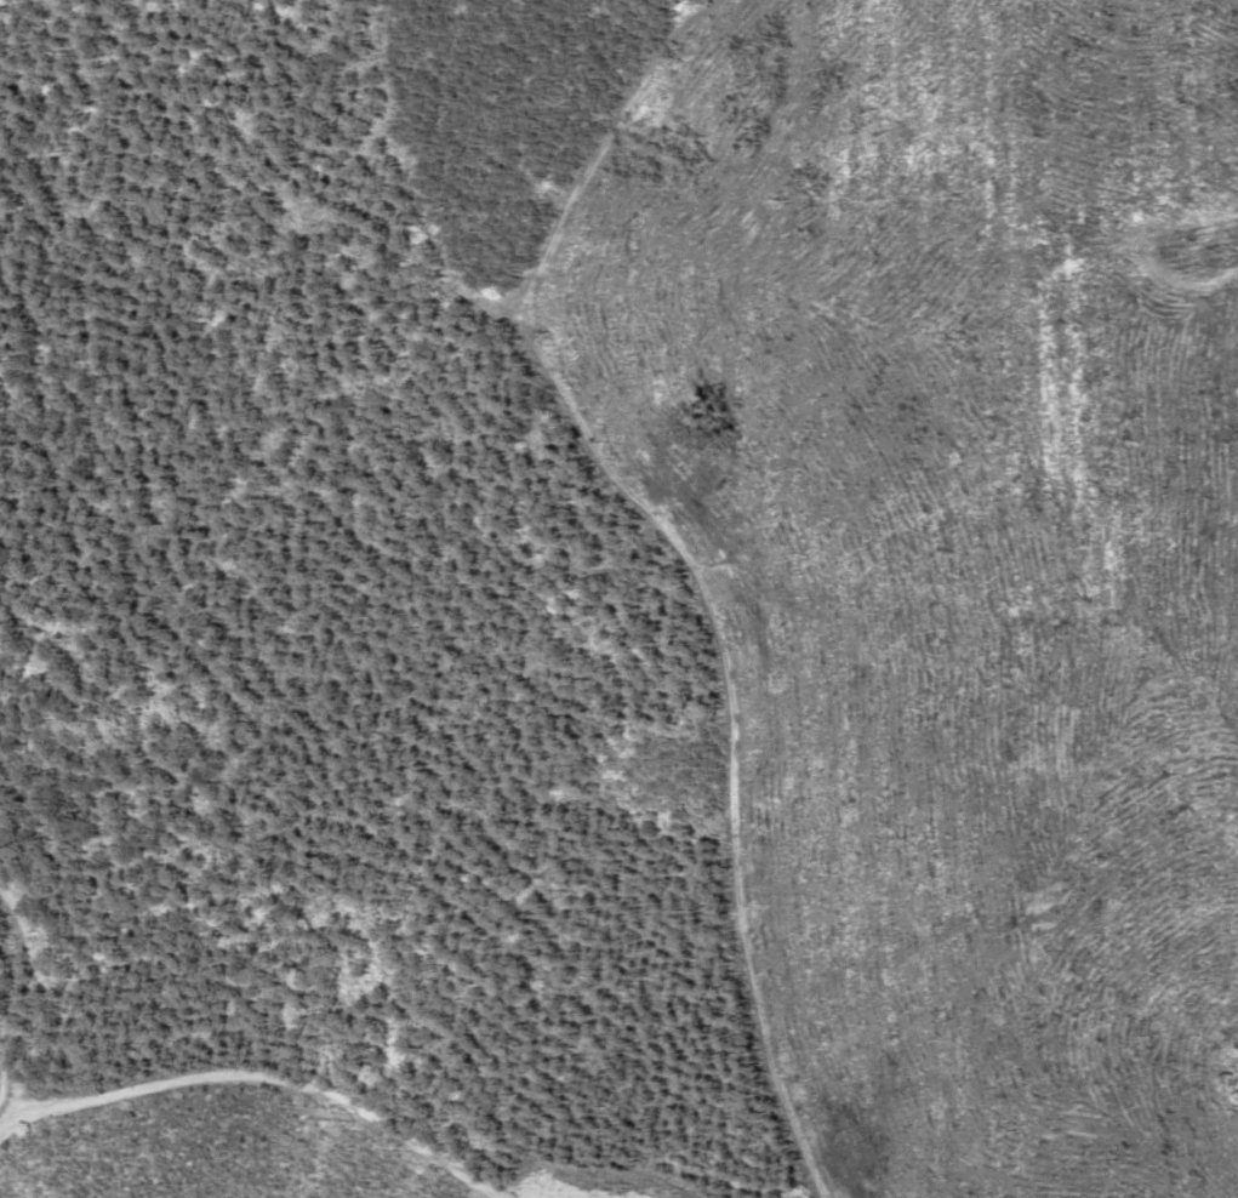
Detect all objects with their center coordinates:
road: (269, 1073)

